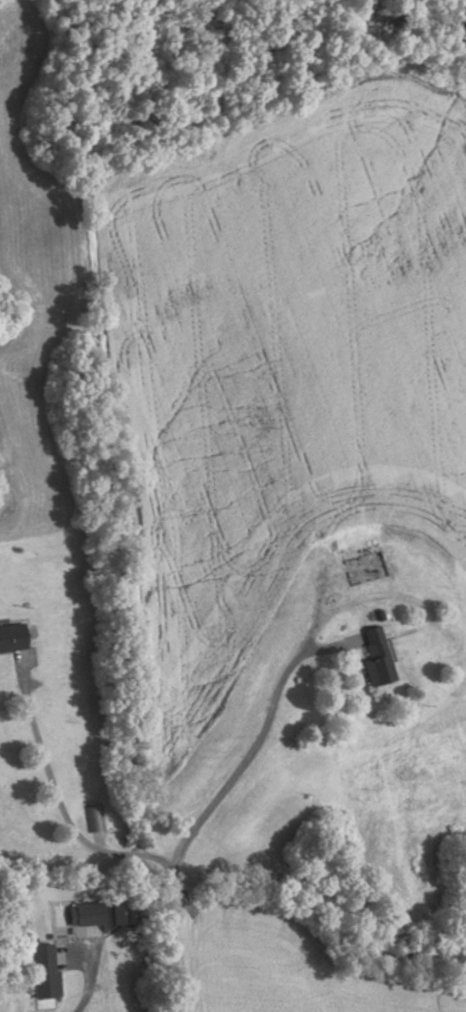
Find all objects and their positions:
building: (365, 567)
building: (14, 637)
building: (380, 658)
road: (62, 807)
road: (198, 817)
building: (93, 819)
building: (91, 914)
building: (46, 971)
road: (87, 989)

